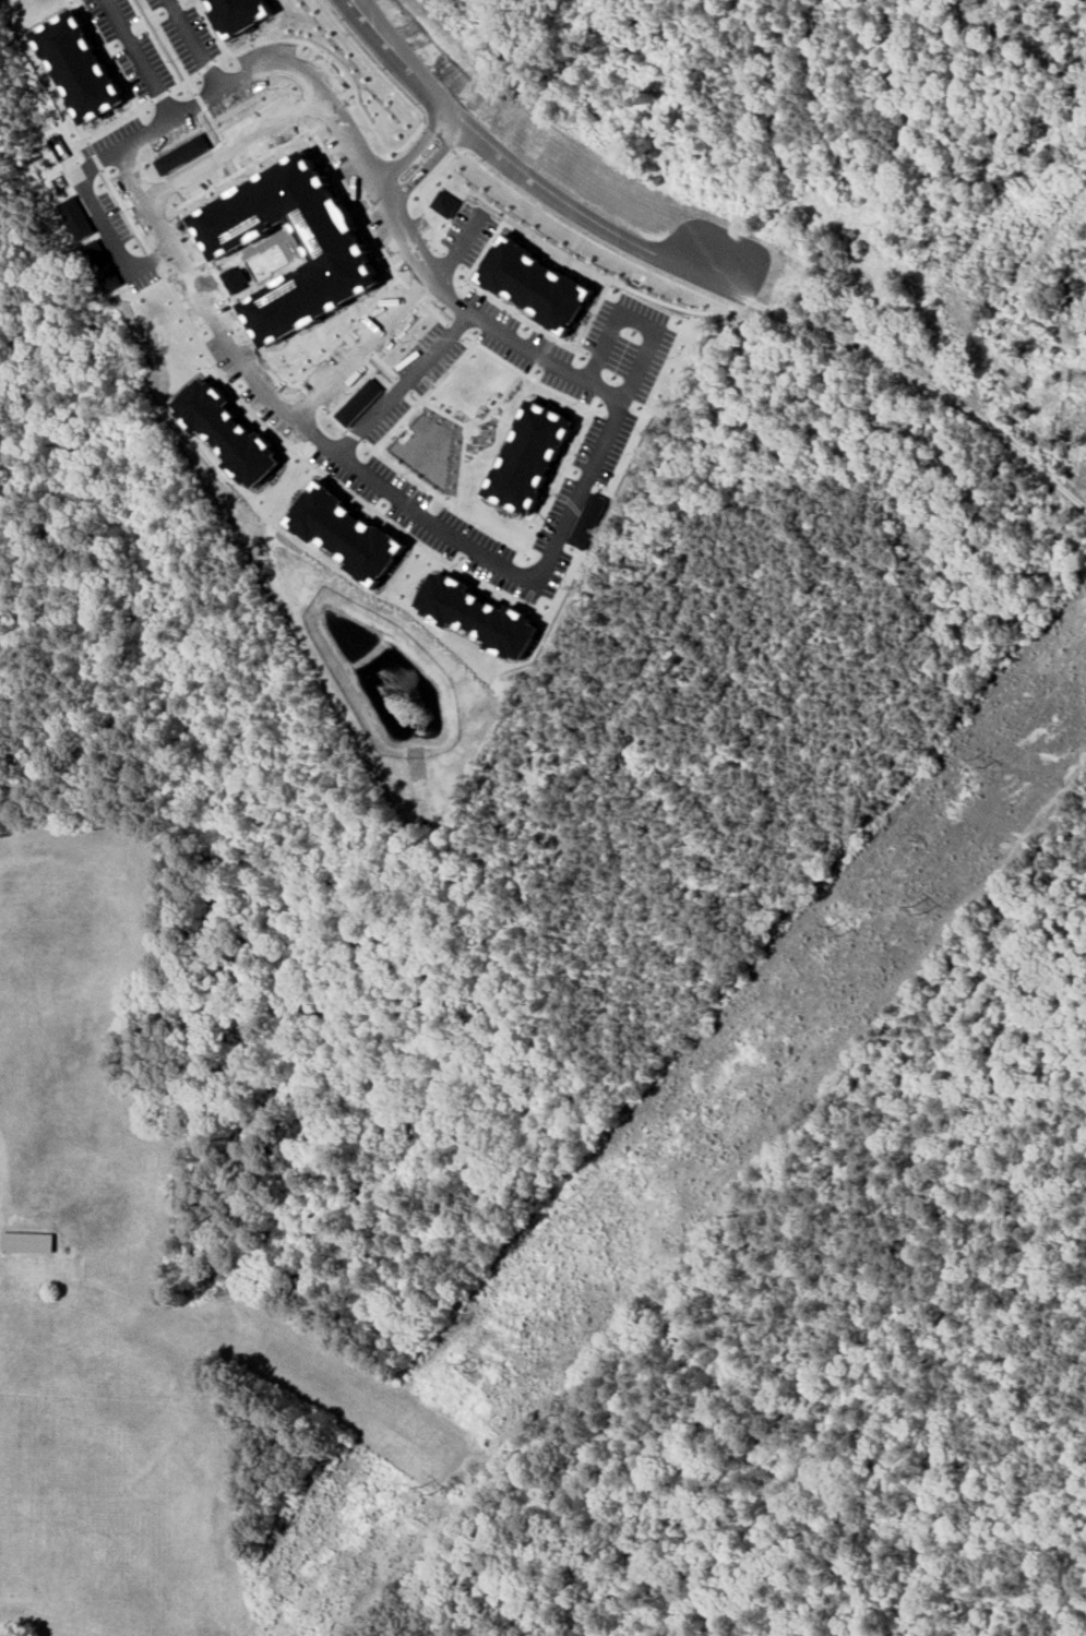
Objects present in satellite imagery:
road: (358, 11)
road: (362, 11)
building: (239, 14)
road: (193, 44)
road: (107, 52)
road: (373, 63)
building: (79, 67)
road: (198, 100)
road: (440, 133)
road: (230, 146)
building: (180, 153)
road: (416, 154)
road: (525, 177)
road: (421, 198)
building: (446, 204)
building: (76, 218)
road: (105, 222)
road: (406, 232)
road: (588, 239)
building: (332, 240)
road: (461, 247)
building: (103, 265)
building: (536, 285)
road: (635, 319)
road: (361, 343)
road: (405, 385)
road: (278, 399)
building: (359, 403)
road: (620, 405)
building: (229, 432)
building: (528, 457)
building: (586, 521)
building: (347, 533)
building: (478, 617)
power tower: (978, 764)
power tower: (917, 907)
power tower: (832, 929)
building: (28, 1241)
power tower: (464, 1362)
power tower: (423, 1492)

